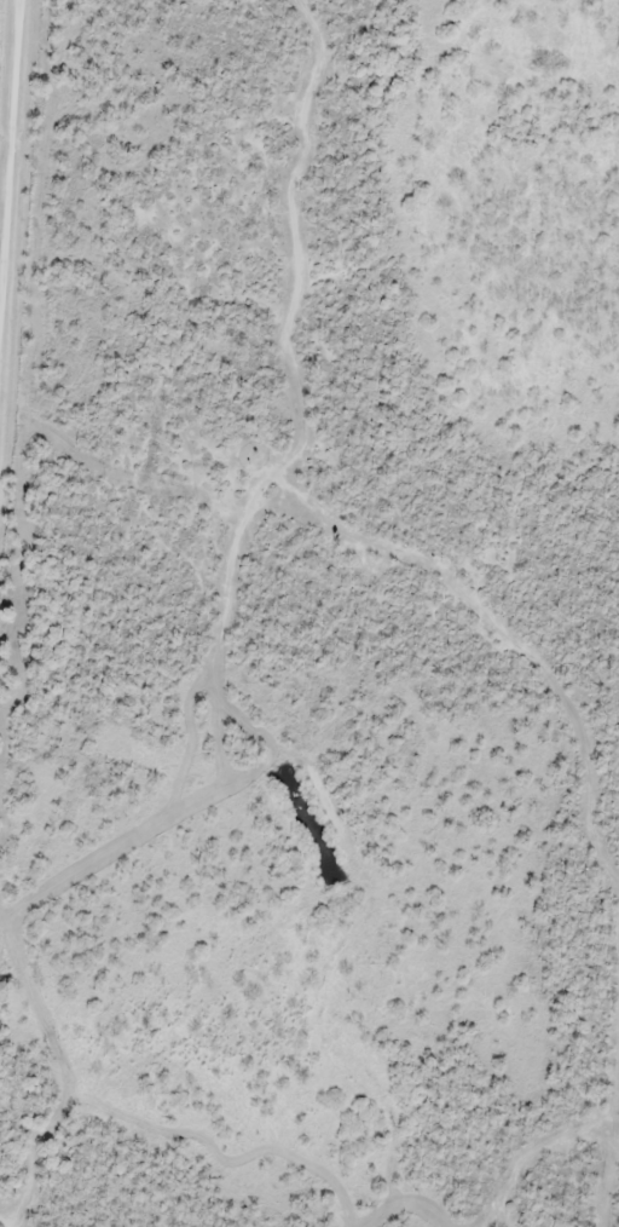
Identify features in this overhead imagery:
road: (24, 240)

